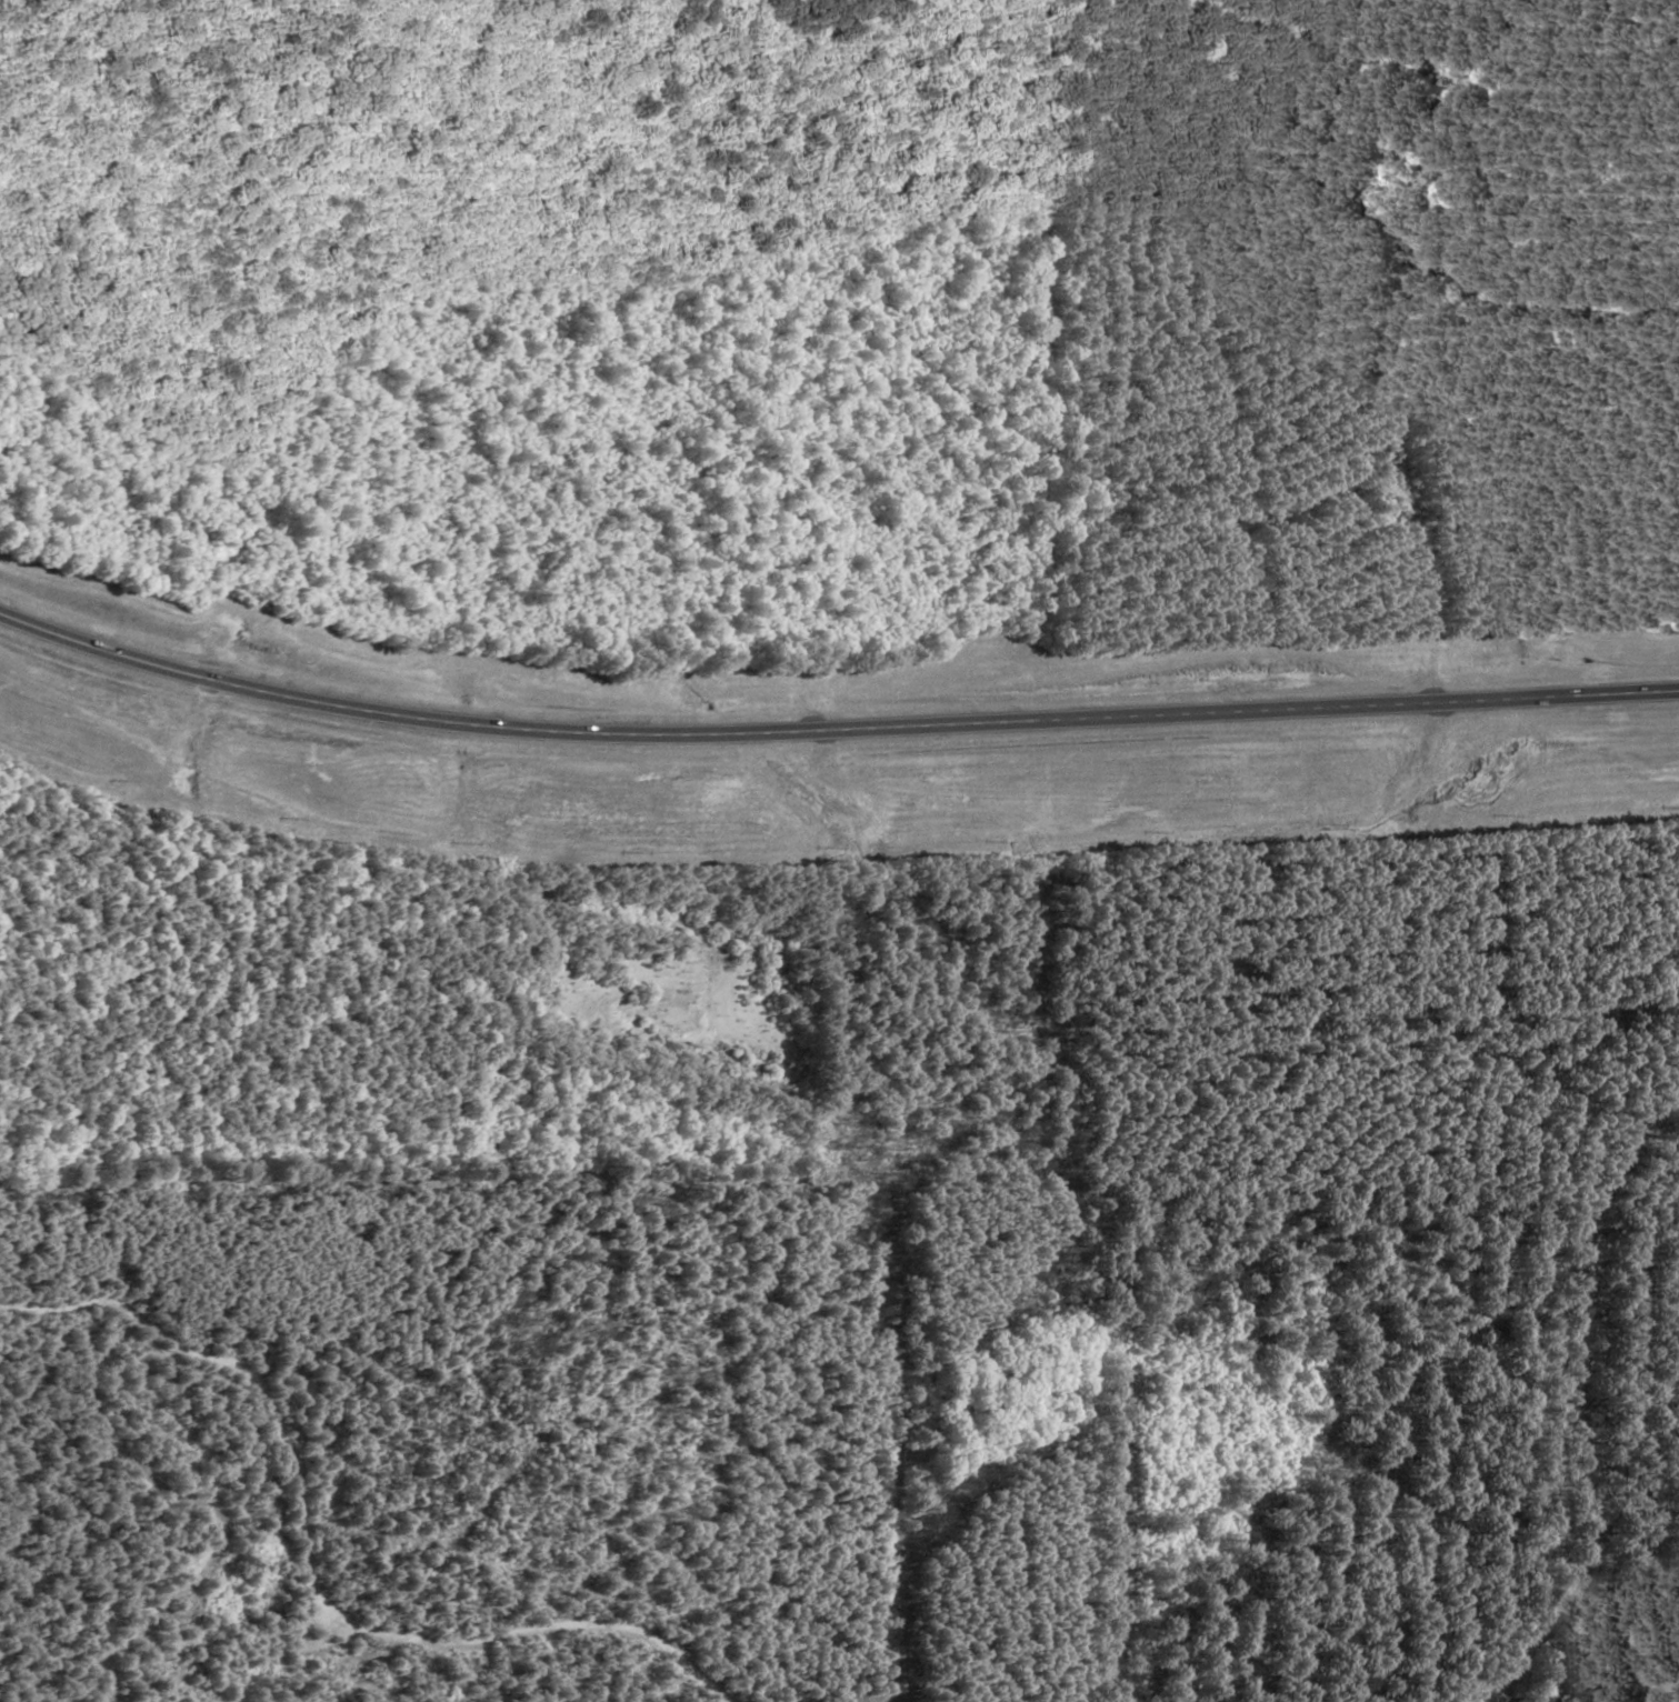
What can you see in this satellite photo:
road: (831, 728)

